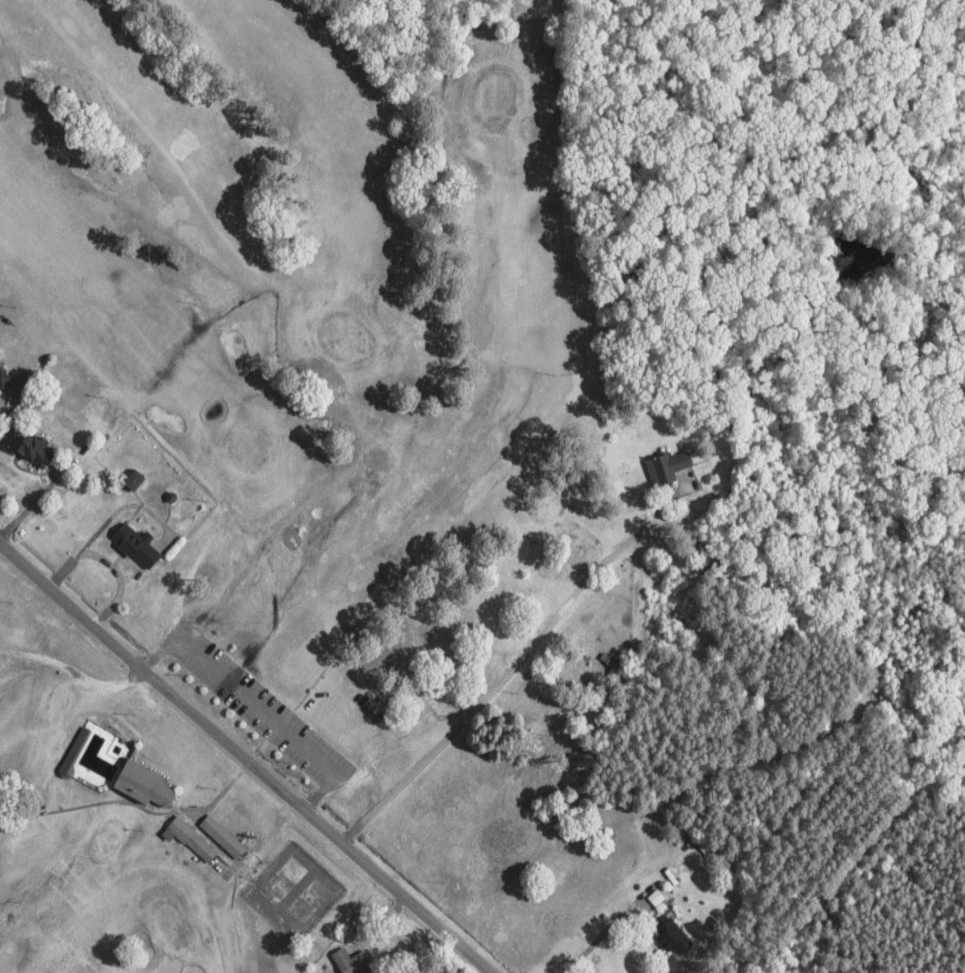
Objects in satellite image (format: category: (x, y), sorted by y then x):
building: (3, 379)
building: (32, 449)
building: (669, 467)
building: (133, 480)
building: (136, 546)
building: (610, 661)
road: (263, 740)
building: (75, 752)
building: (140, 785)
building: (223, 837)
building: (192, 840)
building: (672, 935)
building: (355, 962)

